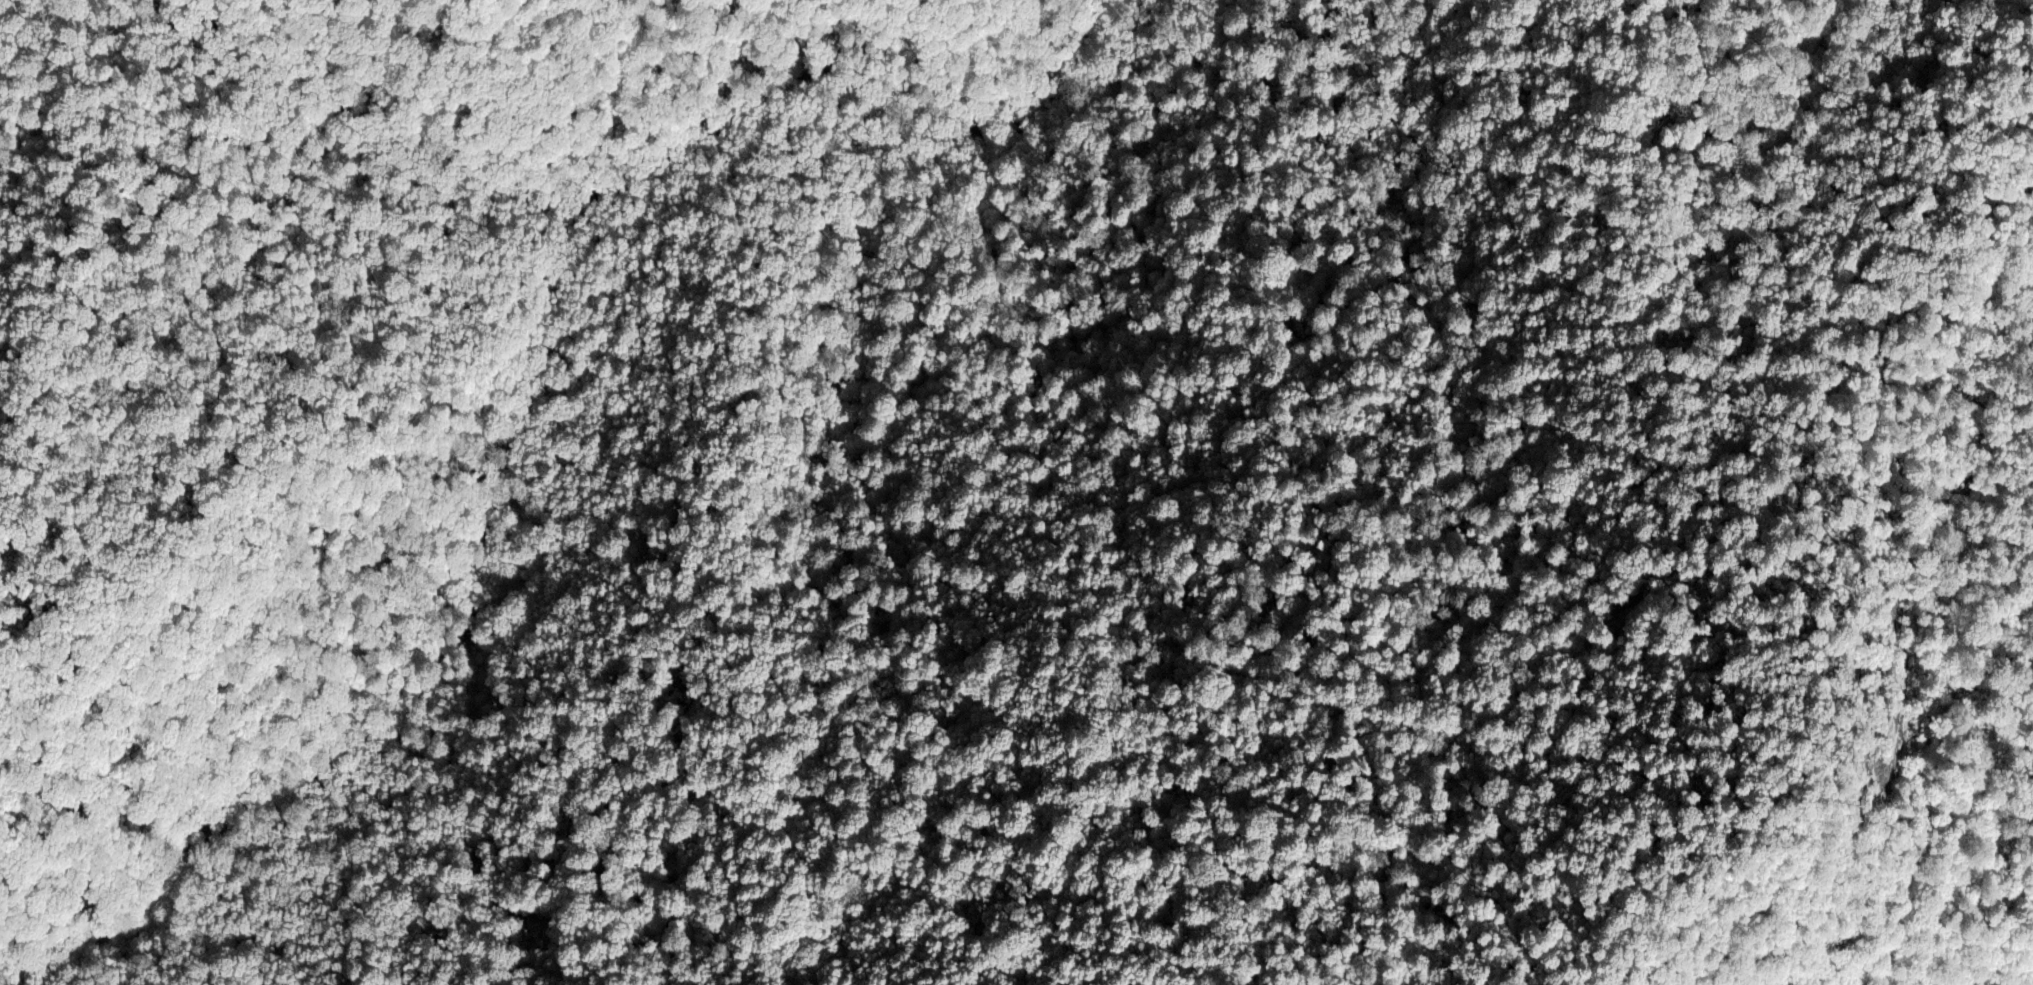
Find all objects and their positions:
road: (613, 129)

